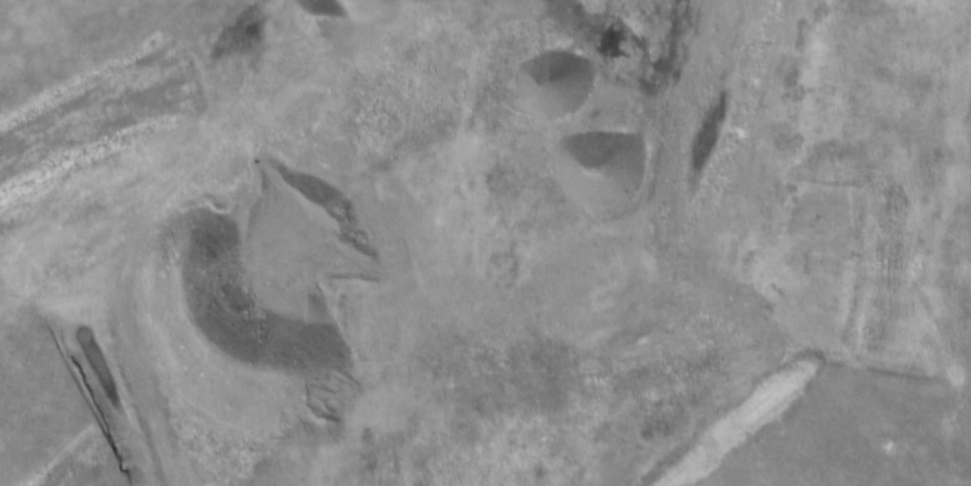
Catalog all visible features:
quarry: (199, 439)

